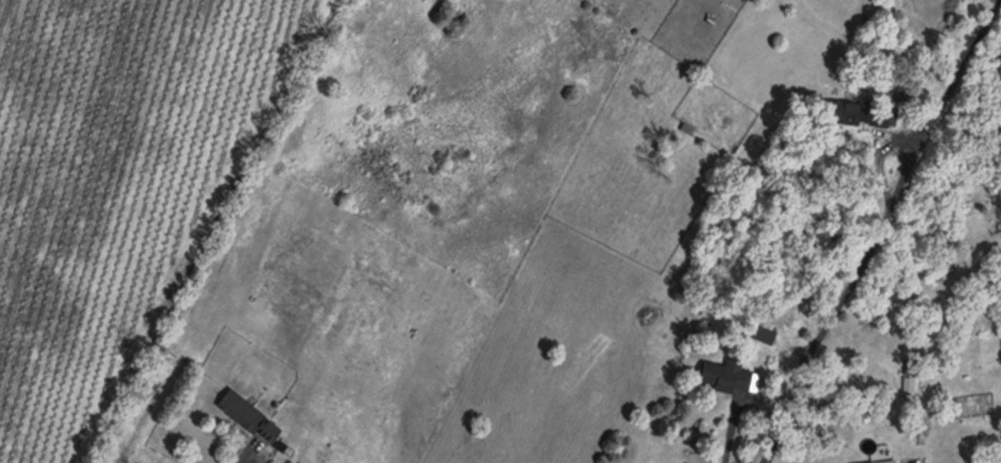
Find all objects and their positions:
road: (883, 232)
road: (734, 433)
road: (242, 455)

